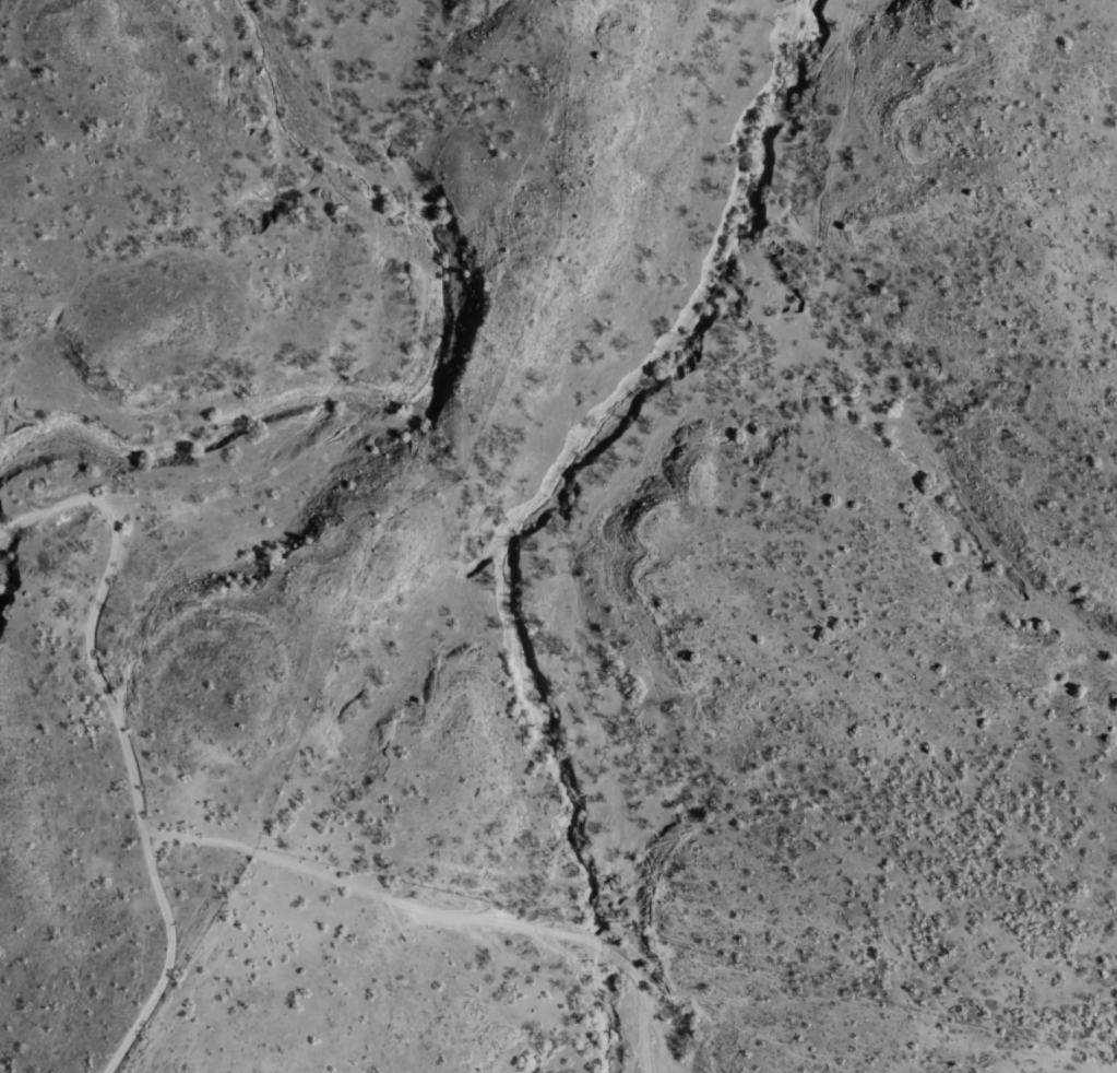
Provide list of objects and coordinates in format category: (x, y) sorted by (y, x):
road: (122, 726)
road: (450, 909)

